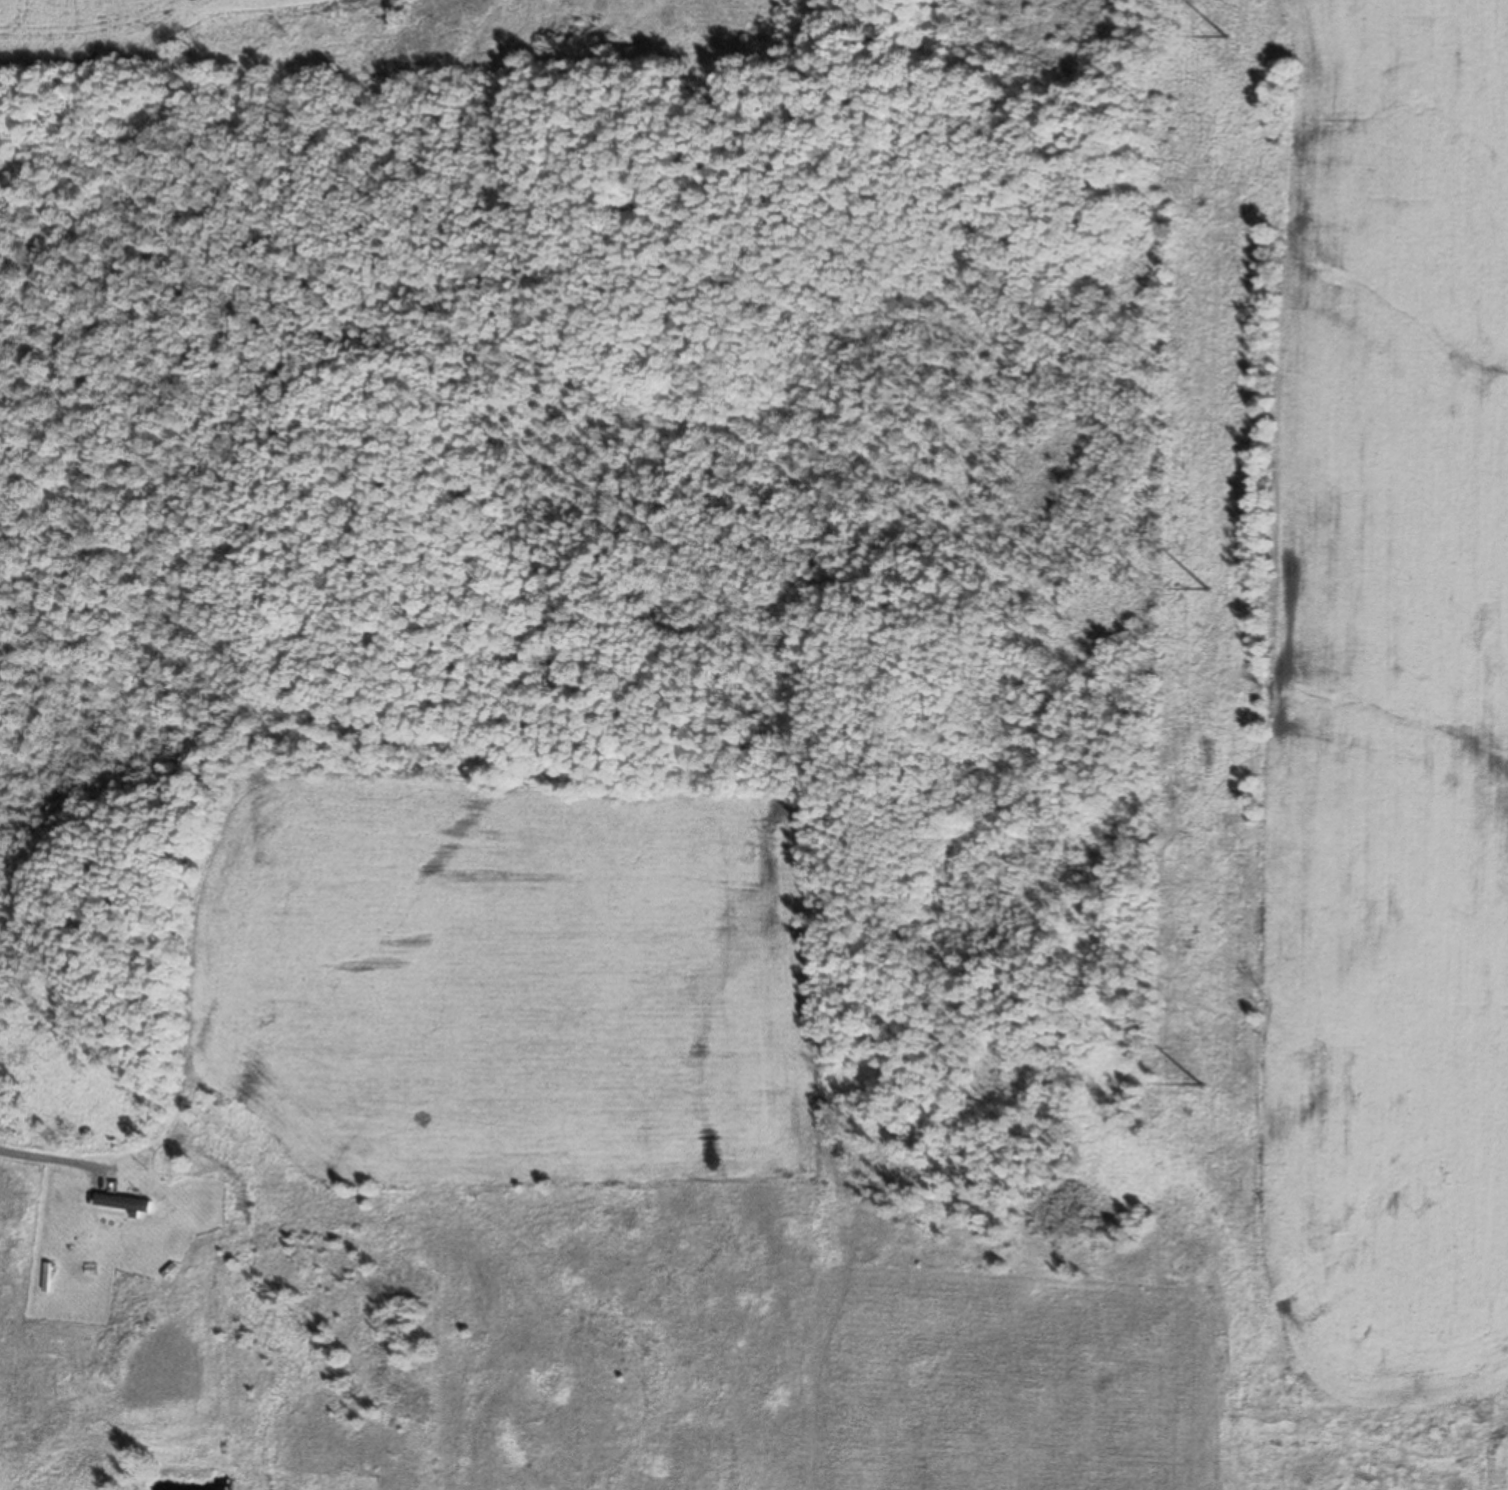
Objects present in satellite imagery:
power tower: (1225, 37)
power tower: (1211, 591)
power tower: (1199, 1089)
building: (122, 1207)

